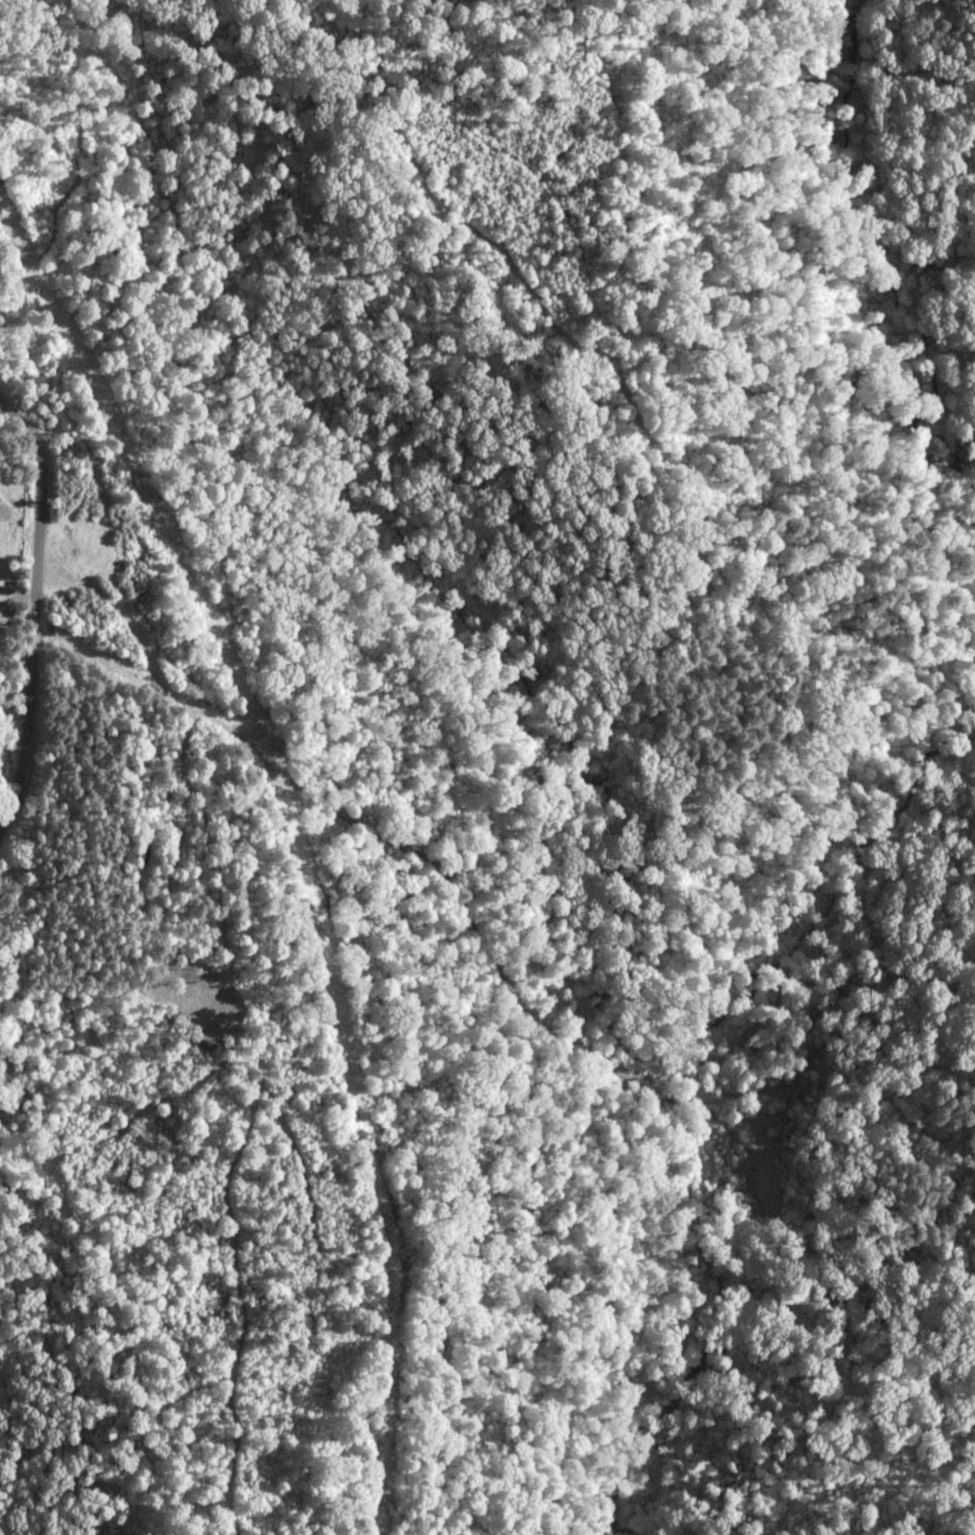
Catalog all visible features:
road: (27, 635)
road: (36, 1349)

